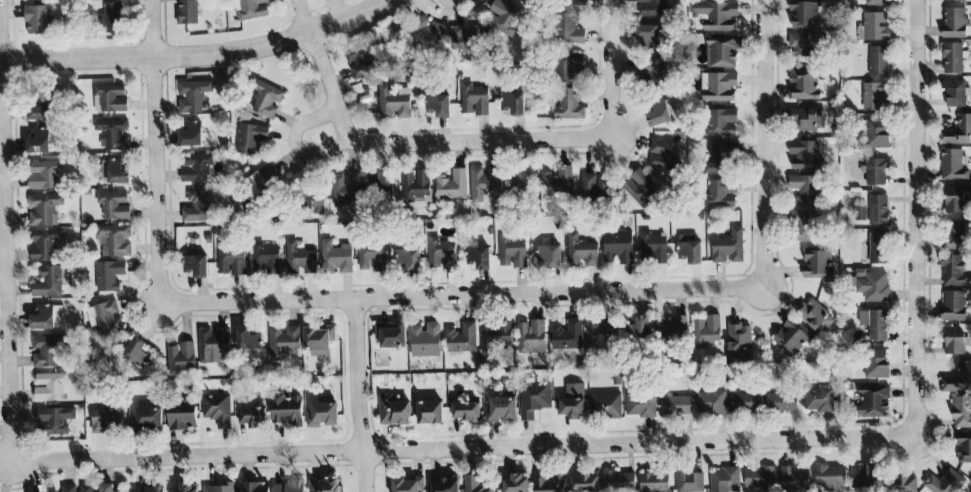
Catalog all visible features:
road: (470, 0)
building: (953, 0)
building: (574, 2)
building: (876, 2)
road: (322, 8)
building: (650, 8)
building: (251, 9)
building: (188, 11)
road: (335, 12)
road: (303, 15)
building: (715, 15)
building: (804, 15)
building: (113, 17)
road: (305, 17)
building: (502, 17)
building: (36, 19)
road: (289, 20)
building: (954, 22)
building: (874, 26)
building: (567, 29)
building: (427, 32)
building: (647, 37)
building: (468, 41)
building: (806, 44)
building: (721, 51)
road: (203, 56)
building: (952, 58)
building: (362, 60)
building: (878, 61)
building: (569, 66)
road: (619, 69)
building: (652, 73)
building: (802, 84)
building: (720, 87)
building: (955, 93)
building: (192, 95)
building: (873, 96)
building: (112, 97)
building: (266, 99)
building: (474, 99)
building: (394, 103)
building: (513, 103)
building: (569, 104)
building: (439, 105)
building: (38, 110)
building: (659, 113)
building: (807, 119)
building: (721, 123)
road: (485, 130)
building: (958, 131)
building: (113, 133)
building: (190, 133)
building: (876, 133)
building: (250, 138)
building: (37, 140)
road: (771, 143)
road: (430, 146)
road: (295, 148)
road: (160, 153)
building: (805, 154)
building: (663, 155)
road: (473, 157)
building: (722, 158)
building: (953, 164)
building: (196, 167)
building: (114, 171)
building: (876, 171)
building: (43, 174)
building: (524, 179)
building: (268, 181)
building: (381, 181)
building: (485, 181)
building: (558, 181)
building: (452, 185)
building: (416, 186)
building: (593, 186)
building: (639, 187)
building: (345, 188)
building: (805, 188)
building: (721, 194)
building: (310, 196)
building: (956, 199)
building: (114, 205)
building: (198, 207)
building: (43, 209)
building: (878, 210)
road: (921, 219)
building: (803, 225)
road: (9, 232)
building: (956, 235)
building: (114, 240)
building: (45, 243)
building: (618, 246)
building: (728, 247)
building: (653, 248)
building: (878, 248)
building: (689, 249)
building: (581, 250)
building: (511, 252)
building: (441, 253)
building: (336, 256)
building: (548, 256)
building: (479, 257)
building: (231, 259)
building: (299, 259)
building: (372, 259)
building: (406, 259)
building: (265, 260)
building: (817, 264)
building: (195, 265)
building: (954, 271)
building: (109, 275)
building: (51, 281)
building: (873, 285)
road: (468, 296)
building: (953, 305)
building: (46, 316)
building: (815, 316)
building: (679, 325)
building: (873, 325)
building: (637, 327)
building: (661, 327)
building: (706, 331)
building: (566, 334)
building: (599, 334)
building: (391, 335)
building: (495, 336)
building: (531, 336)
building: (461, 337)
building: (247, 338)
building: (790, 338)
building: (318, 339)
building: (426, 340)
building: (739, 340)
building: (954, 341)
building: (284, 342)
building: (214, 344)
building: (47, 351)
building: (135, 353)
building: (180, 357)
building: (876, 364)
building: (958, 379)
building: (49, 386)
road: (365, 396)
building: (534, 399)
building: (818, 399)
building: (573, 401)
building: (781, 401)
building: (873, 401)
building: (711, 402)
building: (746, 402)
building: (606, 405)
building: (640, 405)
building: (675, 405)
building: (217, 409)
building: (501, 409)
building: (286, 410)
building: (394, 410)
building: (465, 411)
building: (429, 412)
building: (962, 412)
building: (322, 414)
building: (252, 416)
building: (182, 417)
building: (148, 418)
building: (56, 419)
building: (105, 419)
road: (791, 419)
building: (964, 448)
road: (467, 449)
road: (888, 452)
road: (182, 471)
building: (830, 475)
building: (864, 475)
building: (796, 476)
building: (760, 477)
building: (725, 480)
building: (619, 481)
building: (689, 481)
building: (655, 482)
building: (944, 482)
building: (514, 483)
building: (550, 483)
building: (585, 483)
building: (407, 484)
building: (445, 484)
building: (475, 484)
building: (905, 484)
building: (324, 485)
building: (289, 486)
building: (107, 487)
building: (218, 487)
building: (253, 487)
building: (78, 488)
building: (185, 488)
building: (148, 489)

